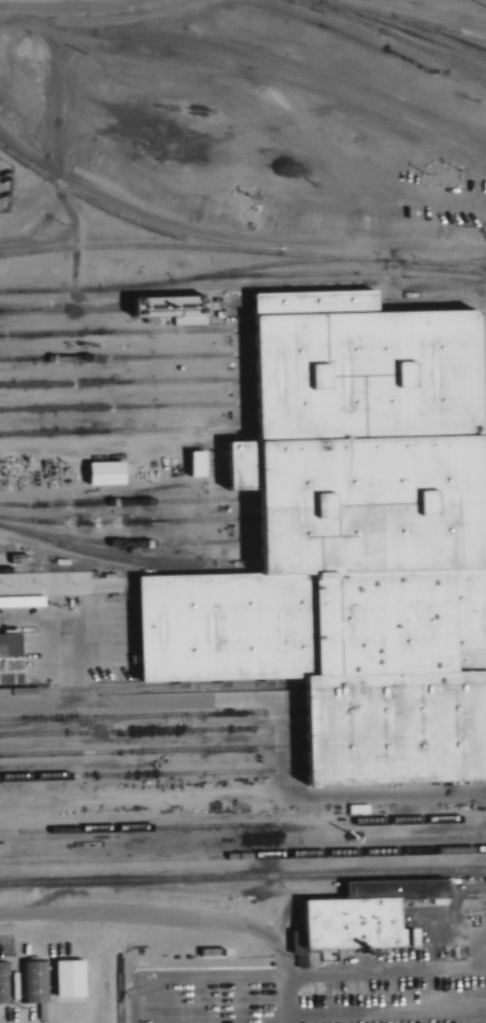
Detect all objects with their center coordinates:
road: (71, 6)
road: (449, 12)
railway: (400, 16)
railway: (403, 27)
railway: (434, 28)
railway: (391, 36)
railway: (435, 53)
building: (270, 99)
building: (415, 177)
railway: (132, 219)
railway: (242, 251)
railway: (459, 262)
railway: (338, 273)
railway: (189, 278)
railway: (237, 285)
railway: (429, 300)
building: (312, 302)
railway: (228, 305)
railway: (64, 308)
building: (170, 309)
railway: (480, 323)
railway: (125, 331)
railway: (480, 347)
railway: (126, 358)
railway: (480, 371)
building: (364, 375)
railway: (126, 382)
railway: (481, 396)
railway: (127, 406)
railway: (481, 423)
railway: (126, 431)
building: (100, 473)
railway: (481, 474)
railway: (482, 492)
railway: (129, 493)
railway: (142, 502)
building: (361, 504)
railway: (14, 505)
railway: (482, 513)
railway: (128, 522)
railway: (482, 535)
railway: (127, 543)
railway: (482, 557)
building: (13, 558)
railway: (127, 558)
railway: (20, 569)
railway: (25, 602)
building: (308, 625)
building: (8, 659)
railway: (138, 689)
road: (143, 702)
railway: (484, 707)
railway: (149, 716)
railway: (484, 722)
railway: (85, 723)
building: (390, 727)
railway: (149, 731)
railway: (484, 741)
railway: (149, 750)
railway: (484, 764)
railway: (150, 774)
railway: (243, 826)
railway: (242, 856)
railway: (243, 877)
building: (393, 890)
railway: (214, 892)
road: (149, 914)
building: (409, 917)
building: (351, 925)
building: (5, 953)
building: (4, 982)
building: (33, 982)
road: (289, 988)
building: (43, 1012)

